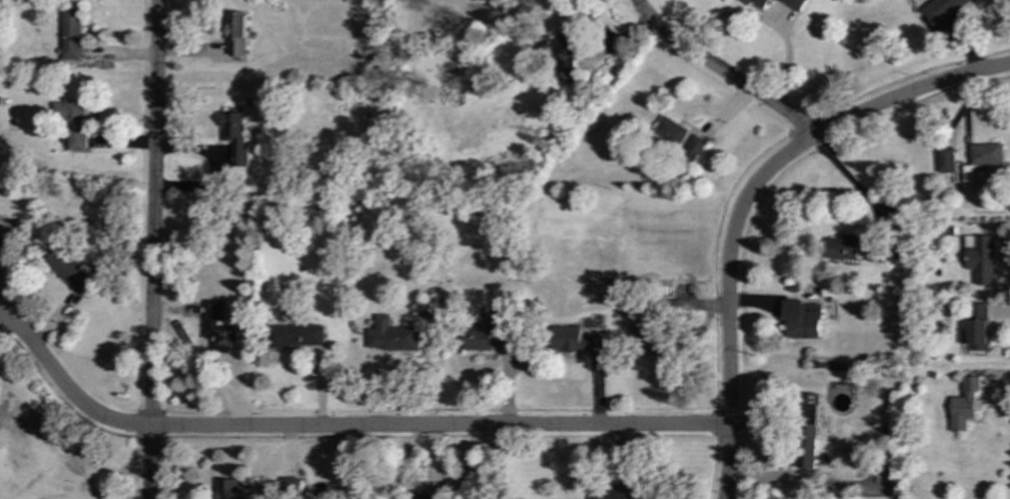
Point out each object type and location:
building: (757, 4)
building: (794, 4)
building: (938, 9)
building: (71, 32)
building: (236, 34)
building: (563, 57)
road: (719, 72)
road: (909, 92)
building: (70, 123)
building: (679, 136)
building: (235, 137)
building: (984, 153)
building: (944, 160)
road: (850, 180)
building: (842, 247)
road: (151, 249)
building: (979, 258)
building: (68, 271)
road: (725, 299)
building: (801, 318)
building: (209, 323)
building: (975, 328)
building: (296, 336)
building: (390, 336)
building: (645, 336)
building: (489, 337)
building: (573, 340)
building: (963, 404)
road: (341, 427)
building: (806, 430)
building: (287, 486)
building: (230, 489)
building: (608, 494)
building: (409, 497)

